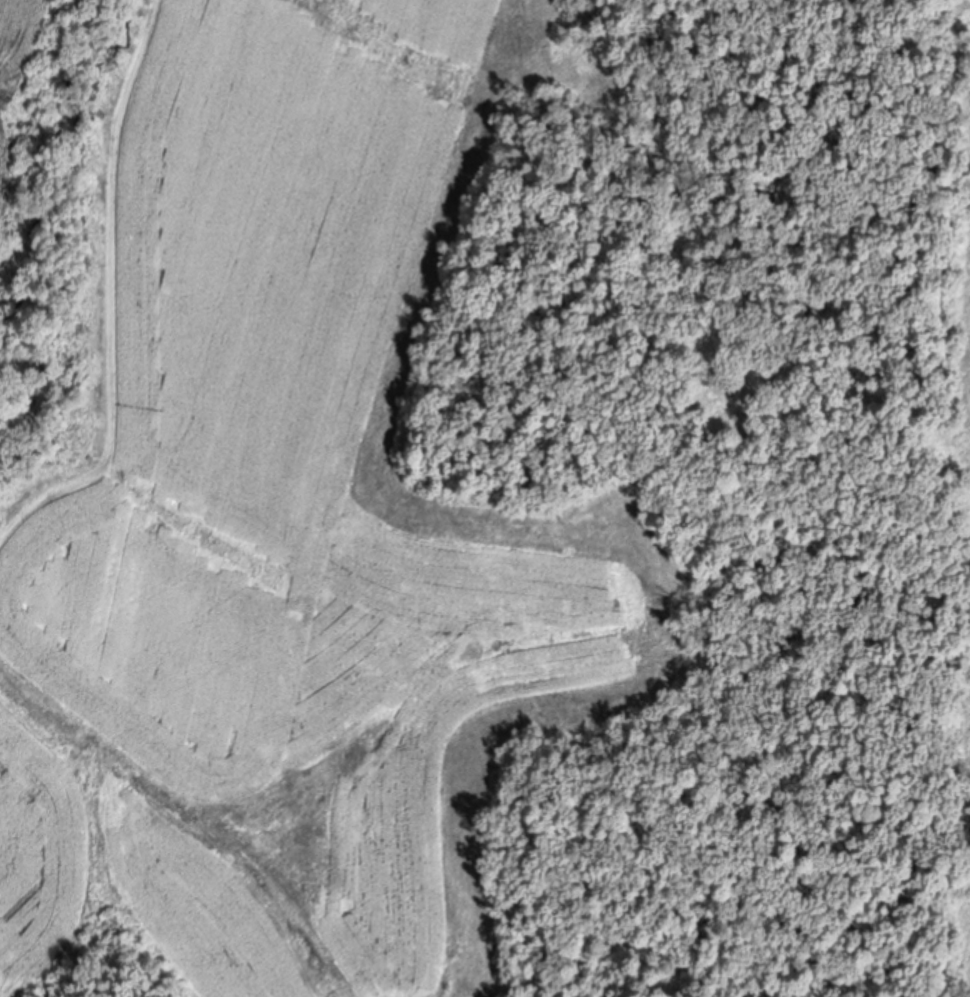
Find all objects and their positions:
road: (105, 291)

